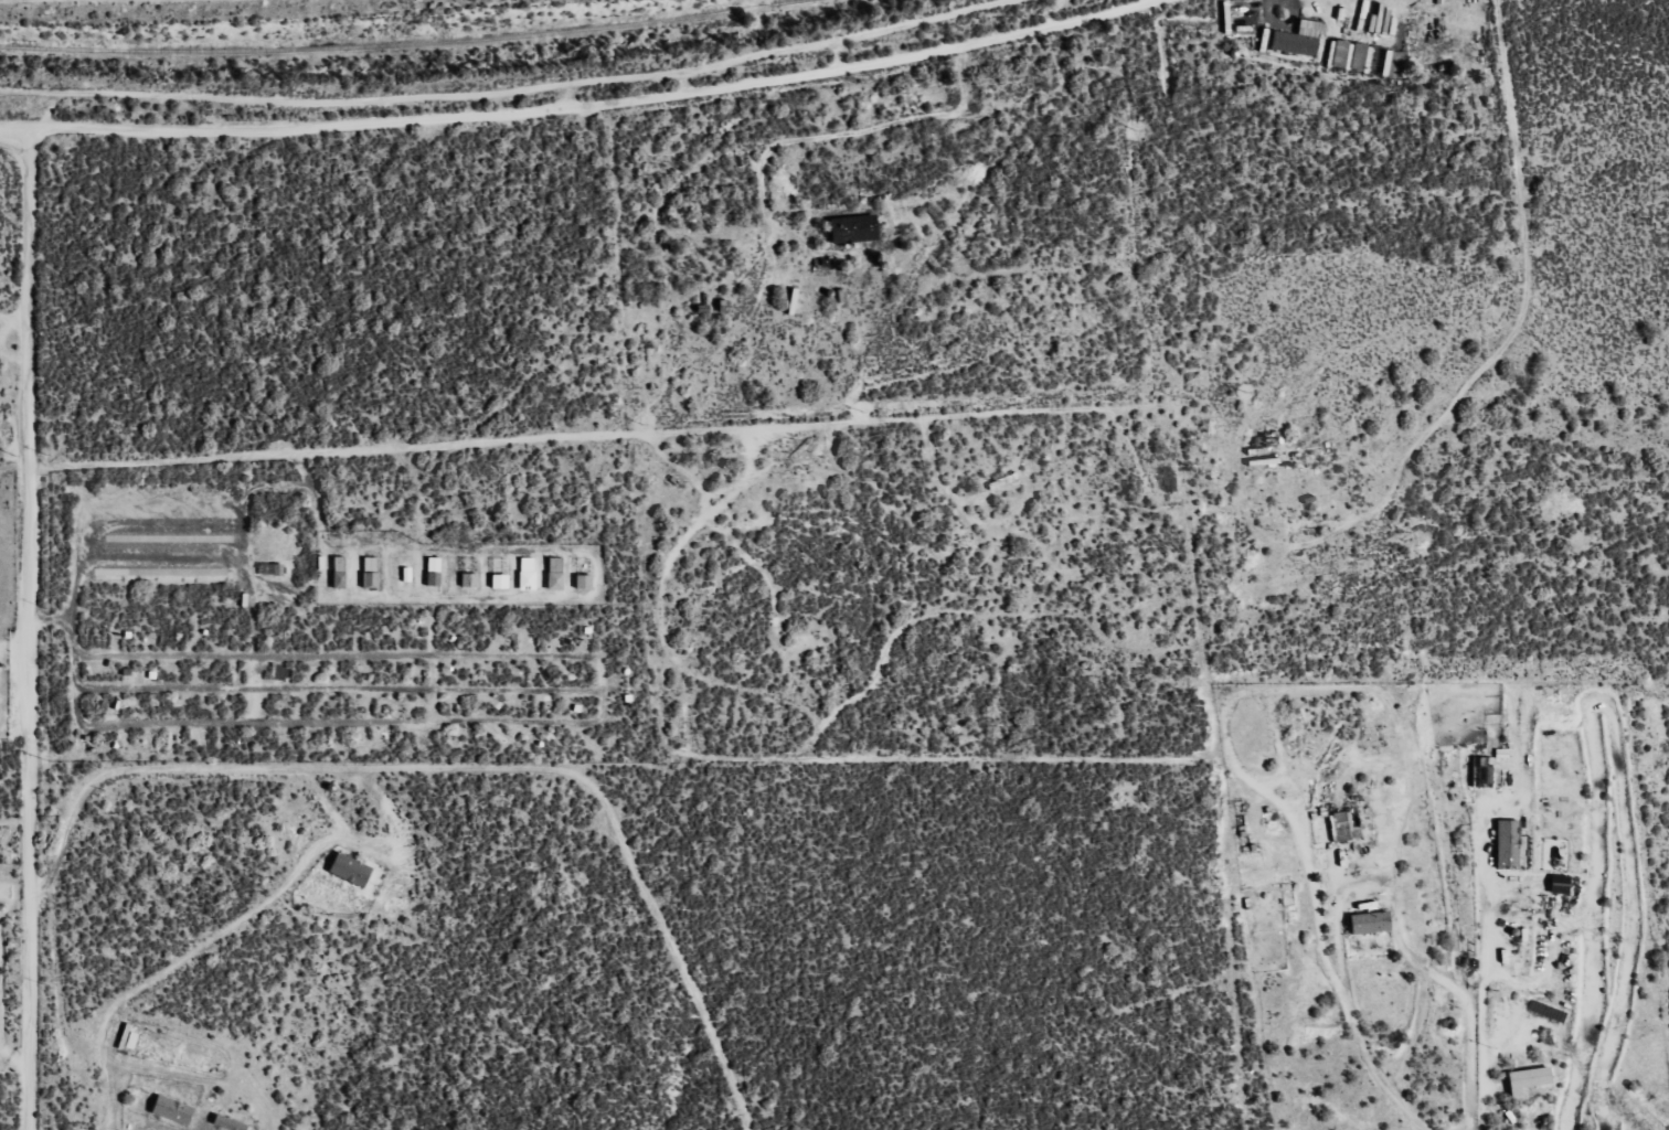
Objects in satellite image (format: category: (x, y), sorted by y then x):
building: (1290, 44)
railway: (394, 46)
building: (1348, 56)
building: (1391, 65)
road: (584, 105)
building: (858, 228)
building: (340, 572)
building: (435, 572)
building: (372, 573)
building: (529, 573)
building: (557, 573)
building: (470, 580)
building: (501, 580)
building: (585, 582)
road: (31, 627)
building: (1337, 827)
building: (1506, 845)
building: (353, 870)
building: (1365, 923)
building: (1526, 1078)
building: (176, 1109)
building: (231, 1122)

